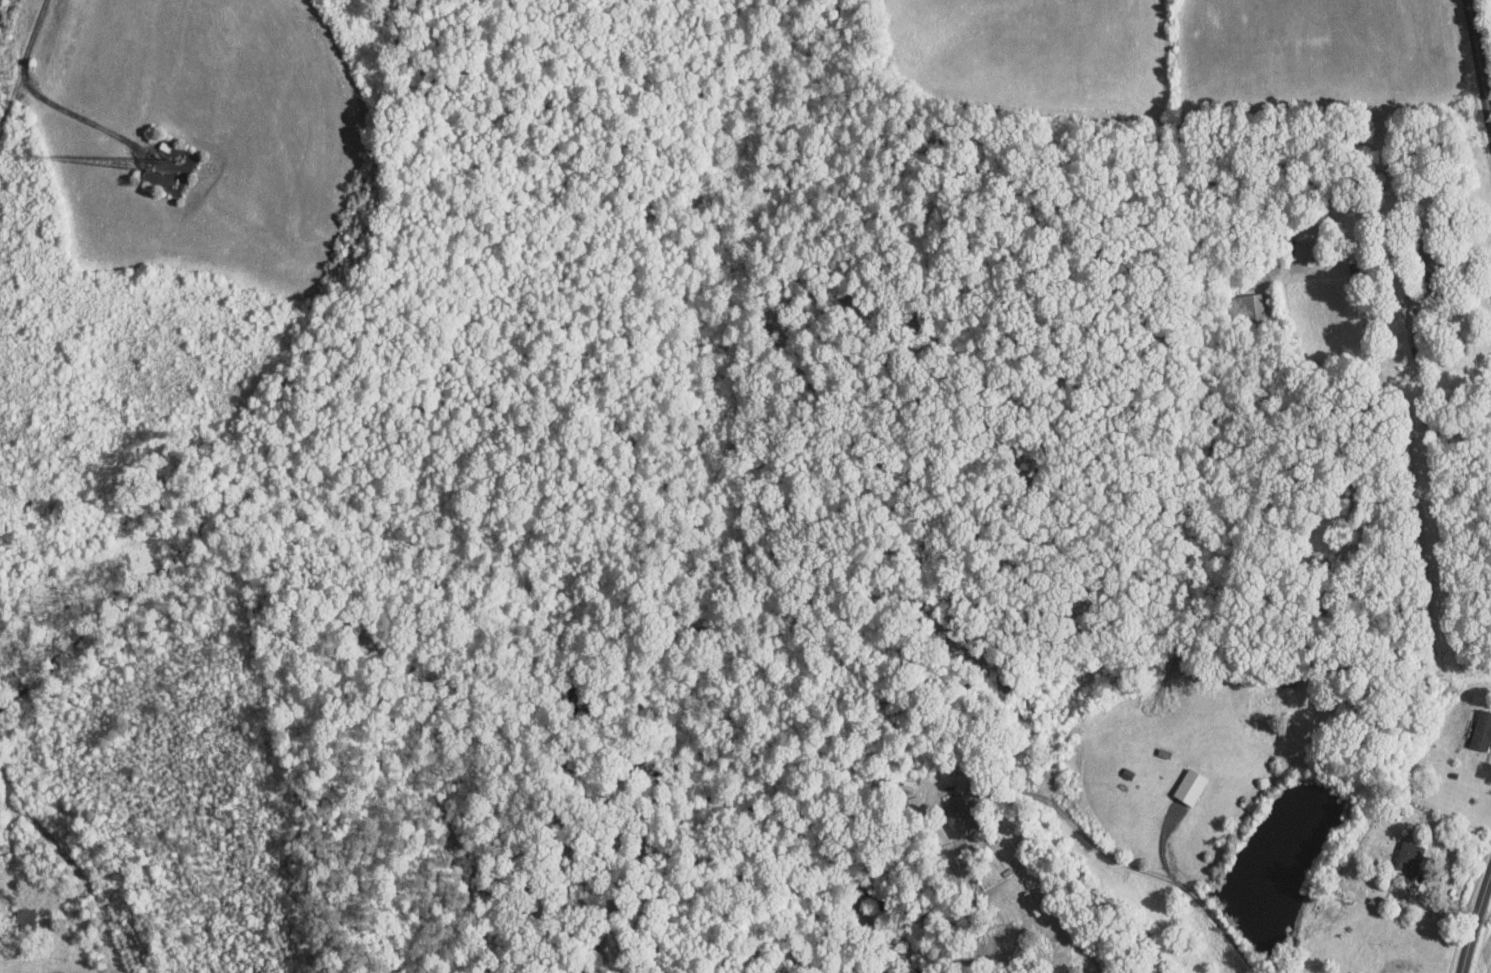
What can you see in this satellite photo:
road: (1479, 65)
building: (1248, 306)
building: (1481, 729)
building: (1188, 786)
building: (1407, 858)
road: (1144, 870)
road: (1474, 920)

